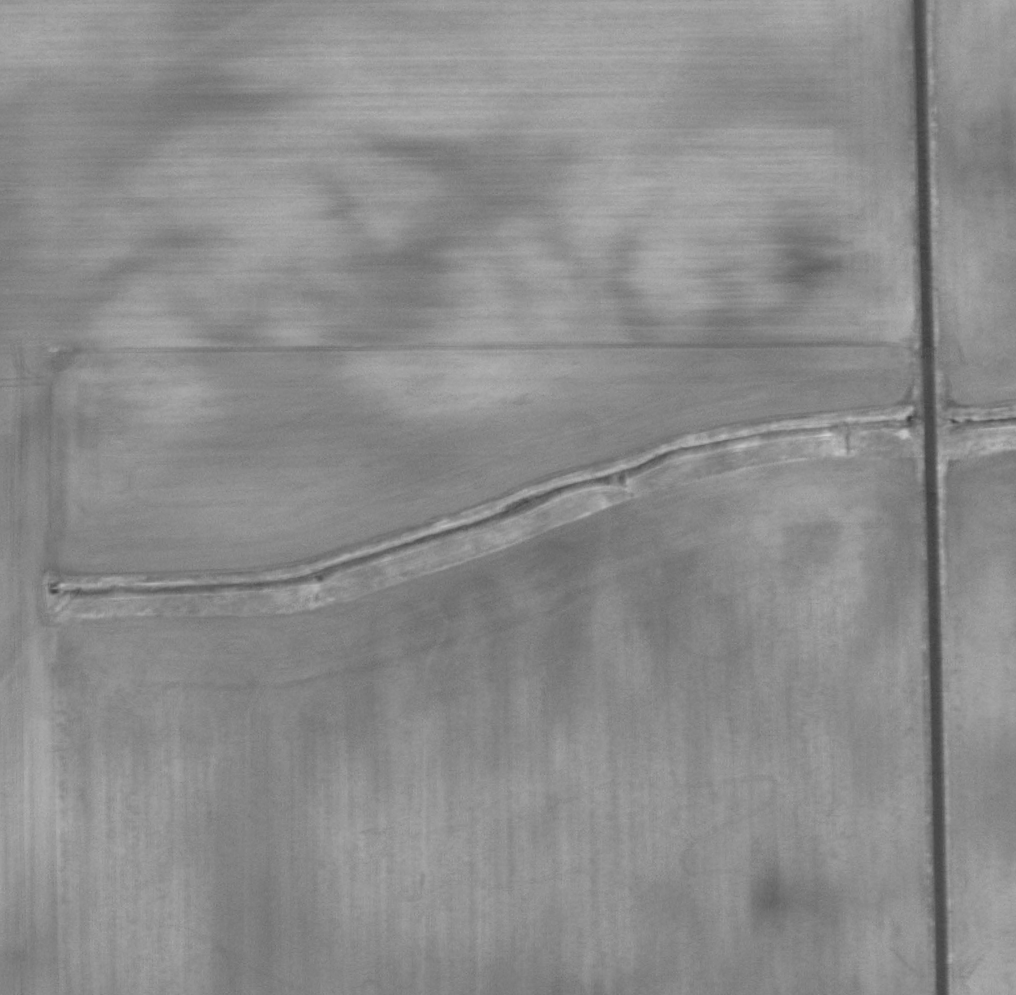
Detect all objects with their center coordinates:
road: (930, 497)

